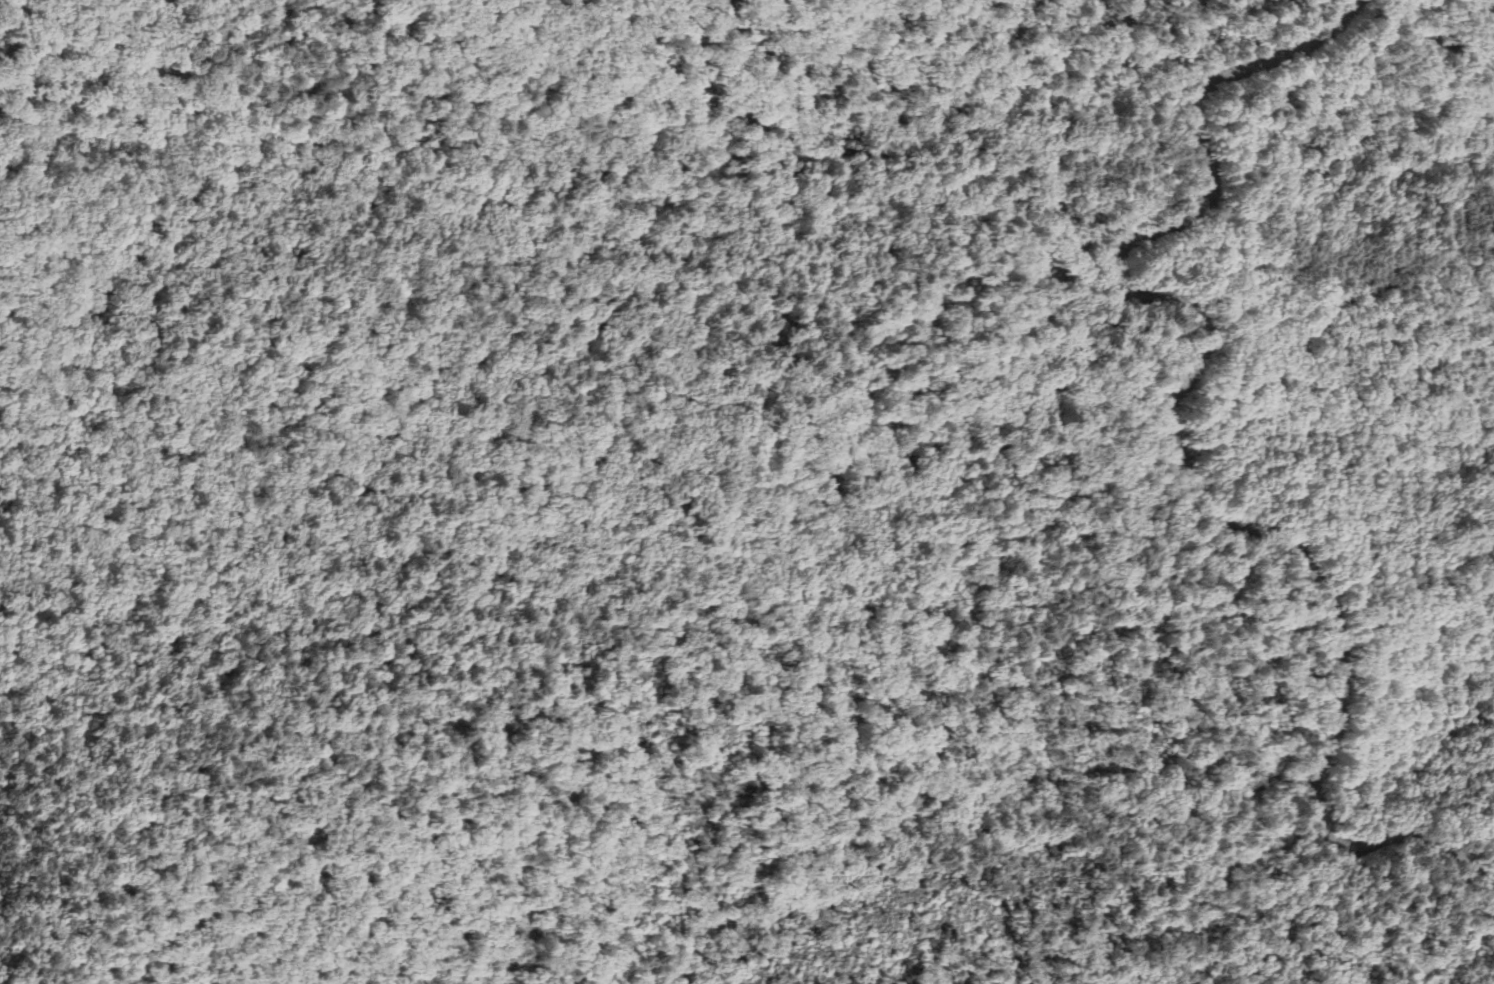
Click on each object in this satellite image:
road: (1177, 430)

